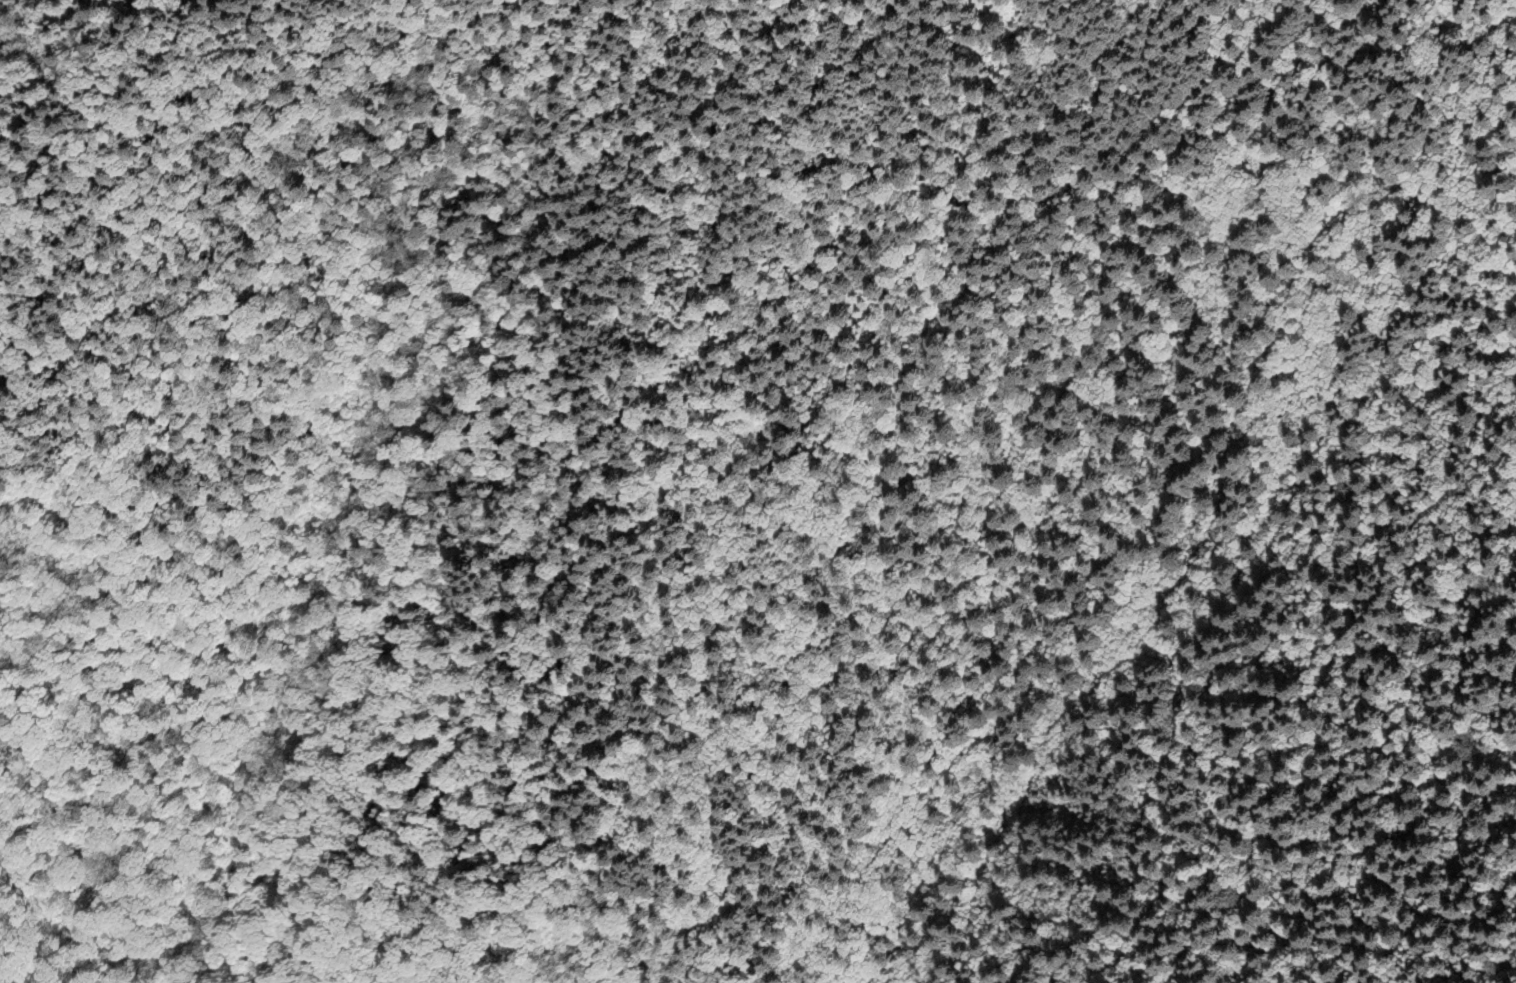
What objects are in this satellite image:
road: (555, 821)

